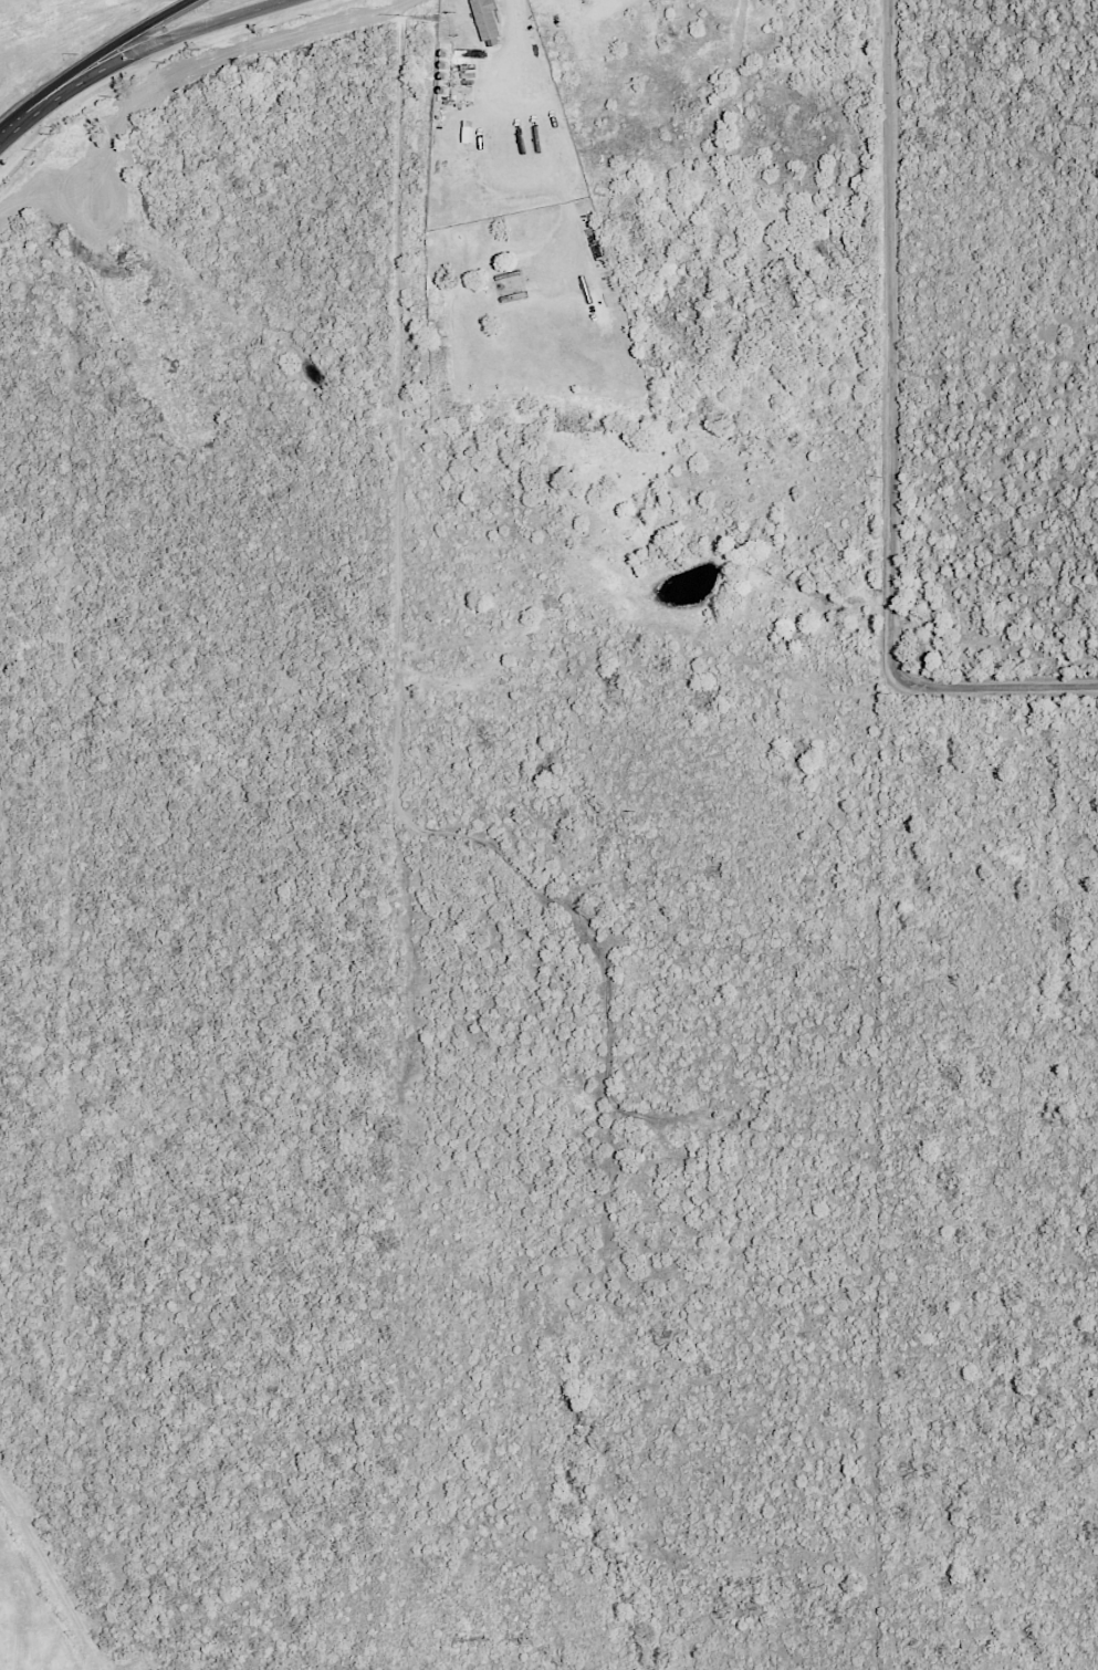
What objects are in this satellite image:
road: (516, 10)
building: (485, 18)
road: (119, 51)
road: (137, 53)
road: (411, 262)
road: (900, 404)
road: (1070, 839)
road: (489, 845)
road: (1080, 888)
road: (917, 991)
road: (1062, 1166)
building: (773, 1400)
road: (1079, 1442)
road: (1015, 1534)
road: (1060, 1556)

